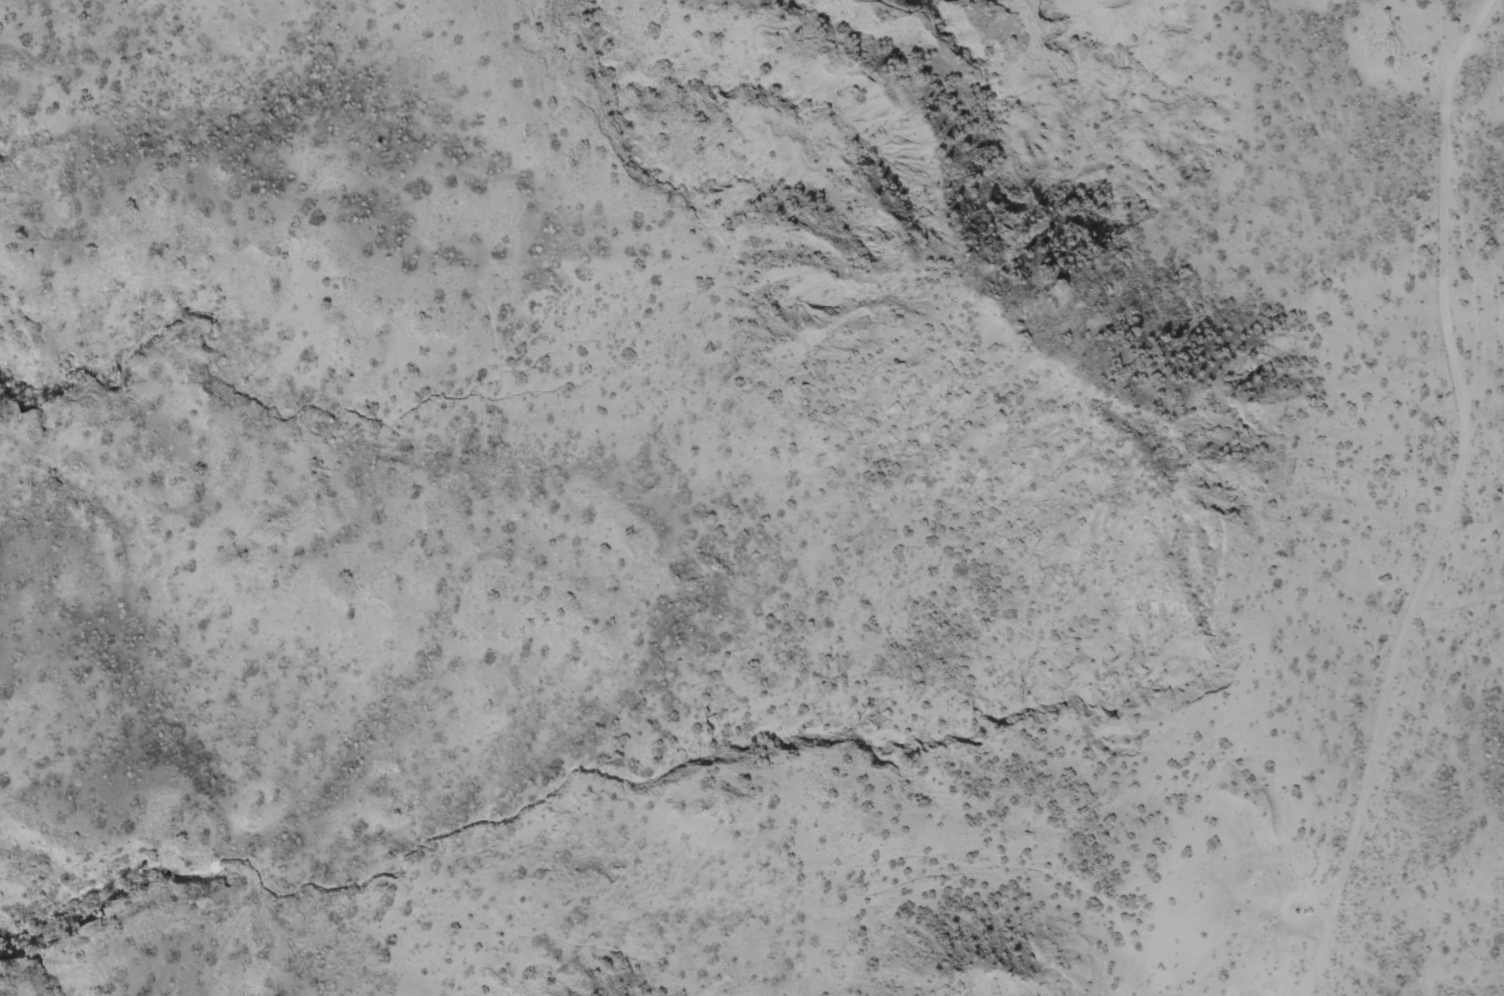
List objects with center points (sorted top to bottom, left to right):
road: (1383, 492)

